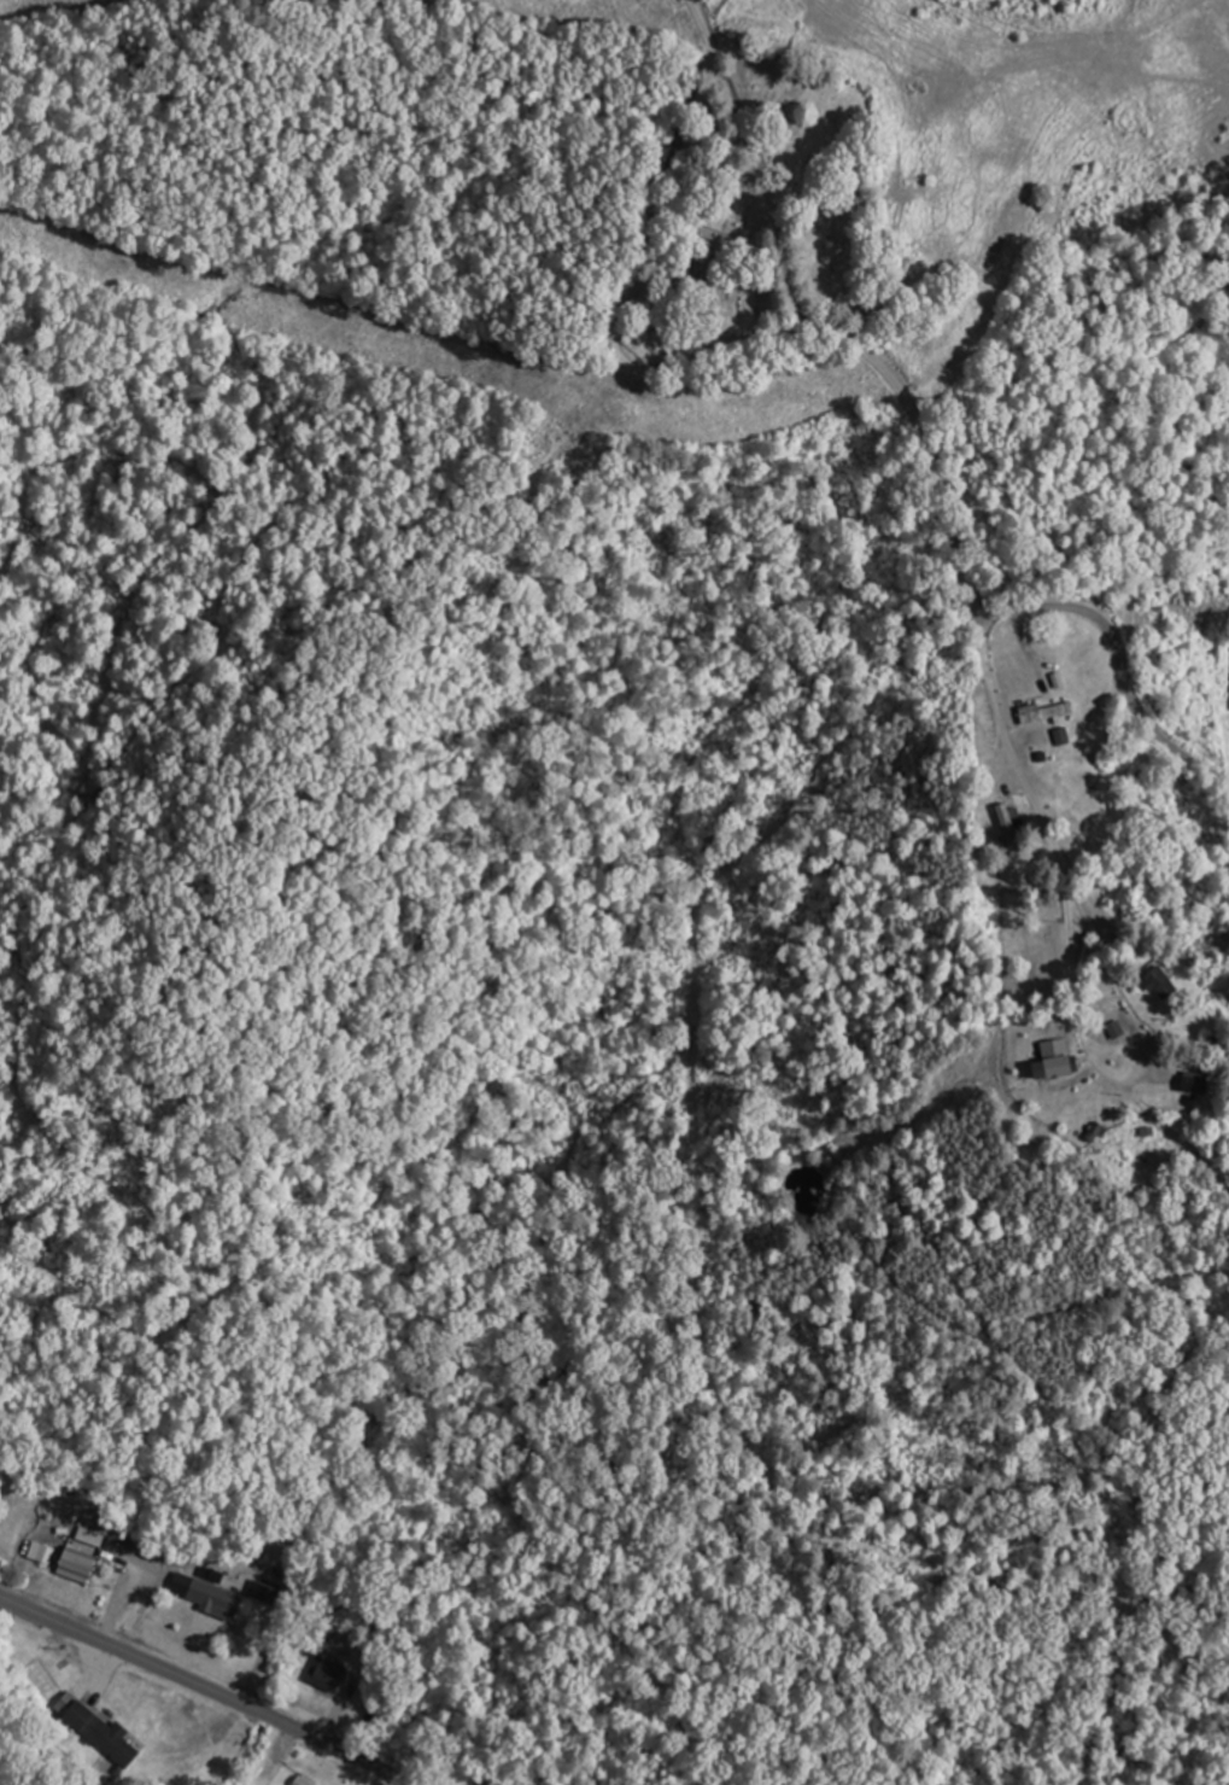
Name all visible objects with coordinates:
road: (761, 175)
road: (628, 304)
road: (995, 612)
building: (1047, 712)
building: (1009, 829)
road: (1052, 832)
building: (1160, 985)
building: (1213, 1049)
building: (1050, 1061)
building: (52, 1554)
building: (84, 1568)
building: (261, 1591)
building: (213, 1597)
building: (333, 1676)
road: (201, 1686)
building: (104, 1734)
building: (304, 1781)

